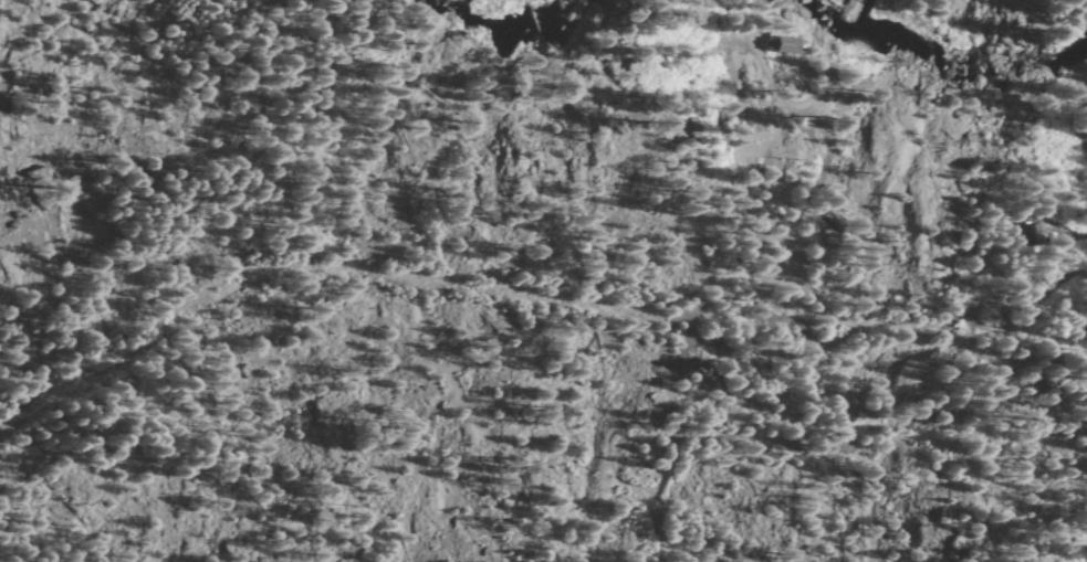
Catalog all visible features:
river: (520, 22)
building: (780, 43)
river: (944, 61)
road: (778, 185)
building: (1031, 231)
road: (1069, 232)
road: (1058, 255)
road: (385, 274)
road: (966, 309)
building: (731, 369)
road: (667, 389)
building: (718, 406)
building: (858, 411)

